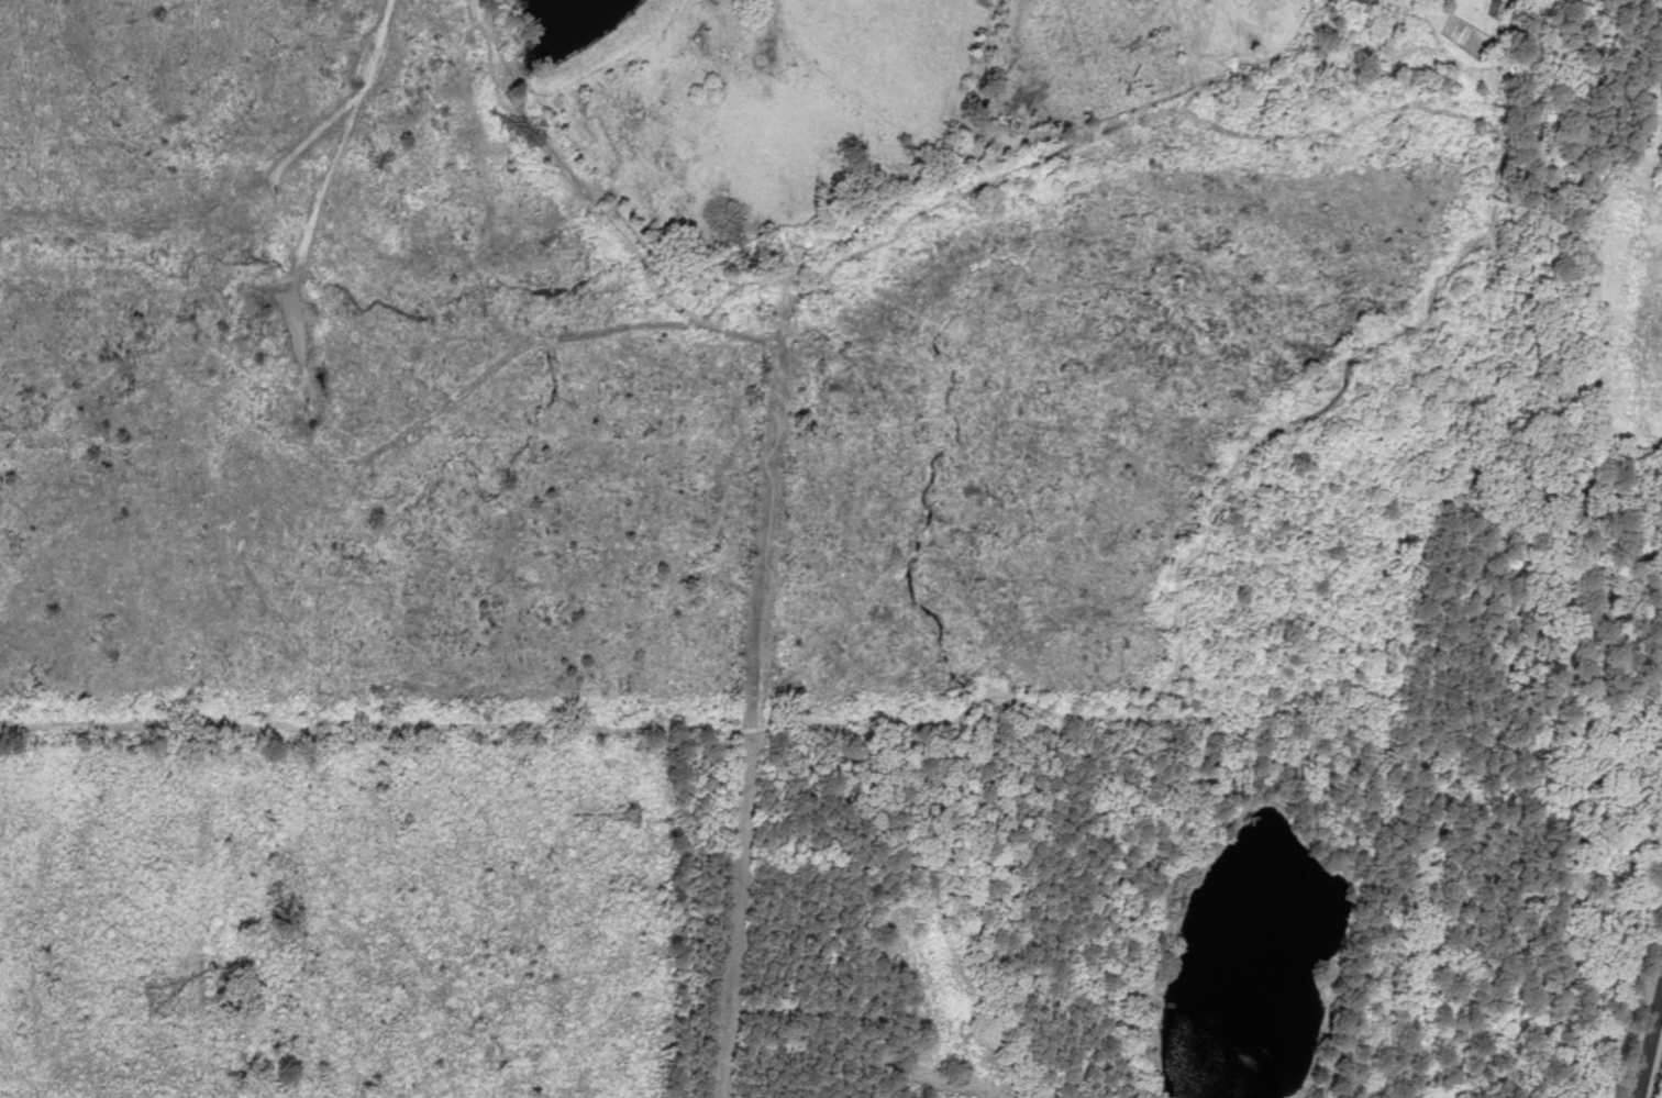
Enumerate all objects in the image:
road: (1644, 1028)

